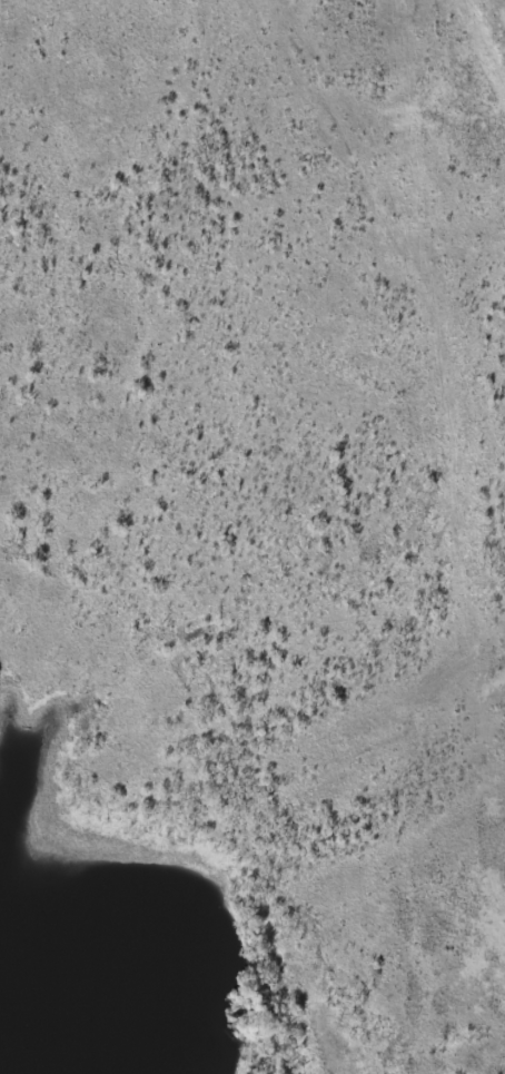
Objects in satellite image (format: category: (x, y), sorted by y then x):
road: (467, 395)

